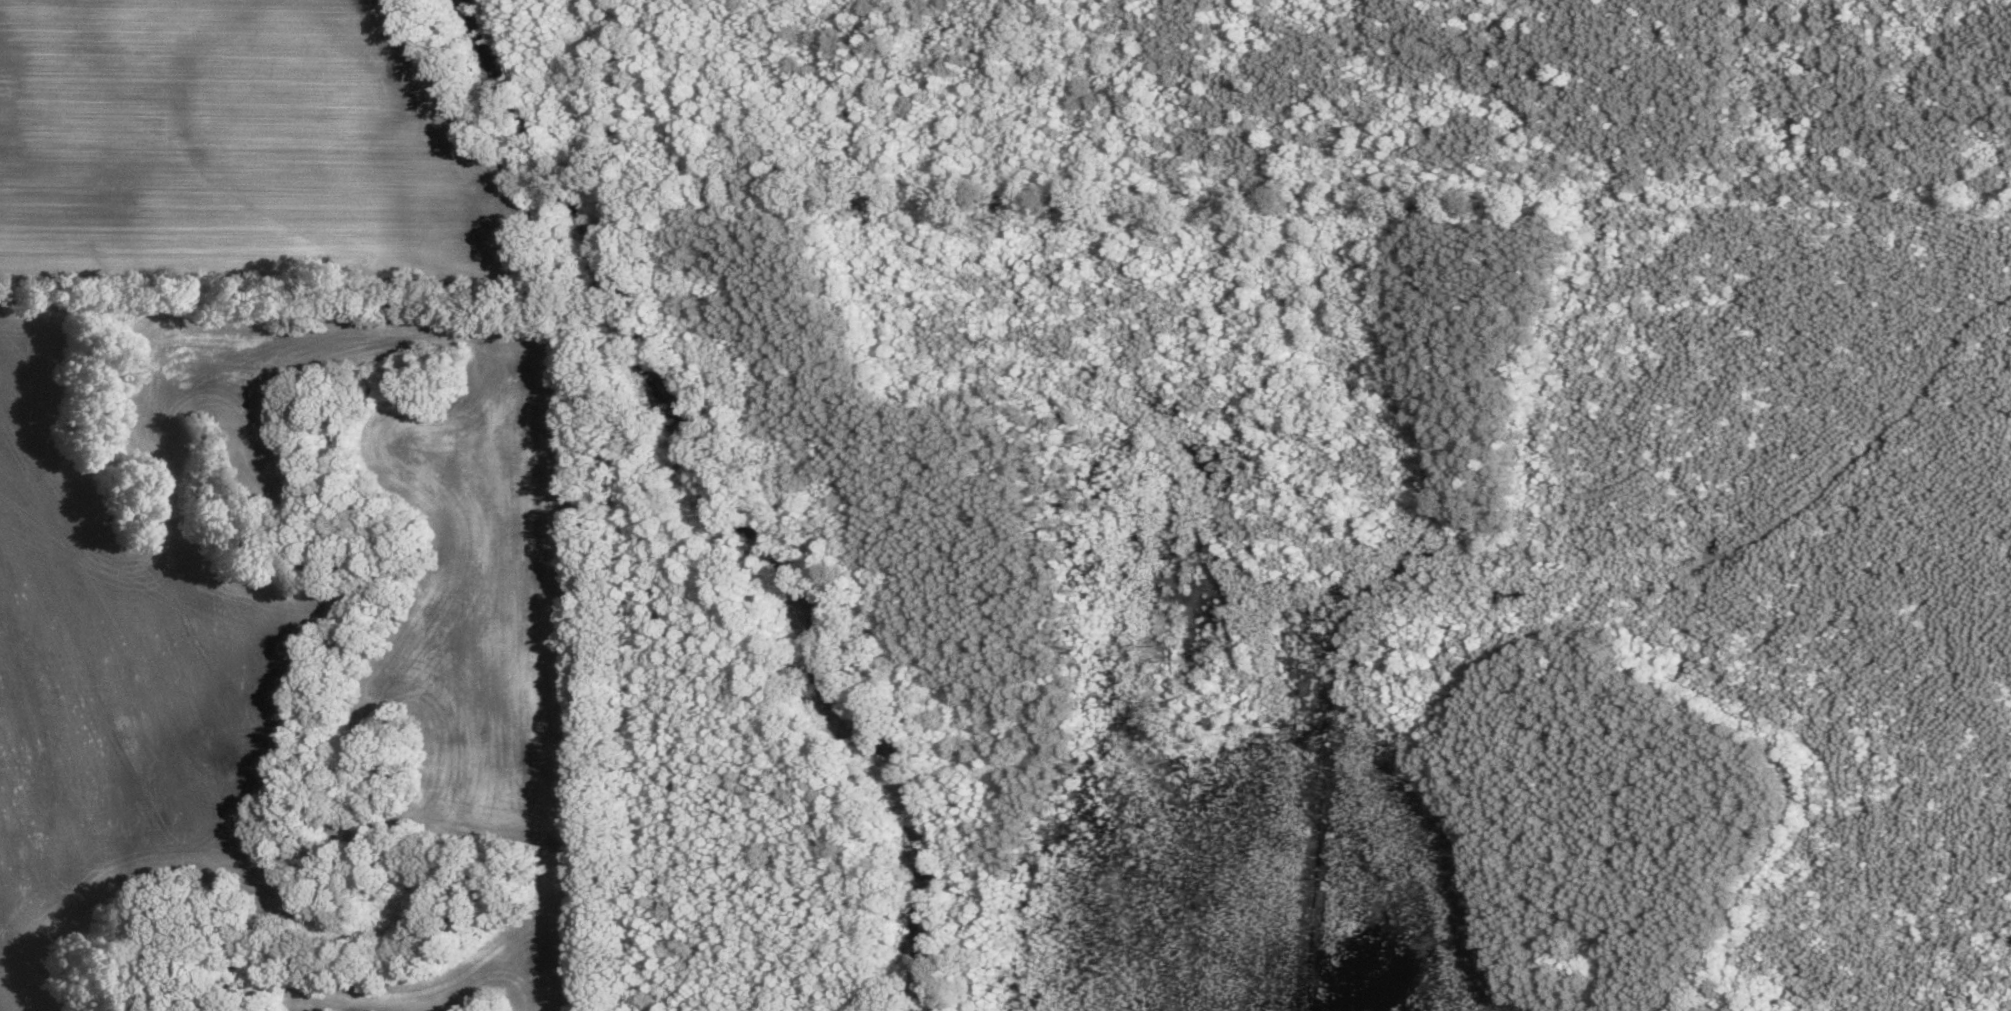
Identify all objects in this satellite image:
road: (1948, 376)

